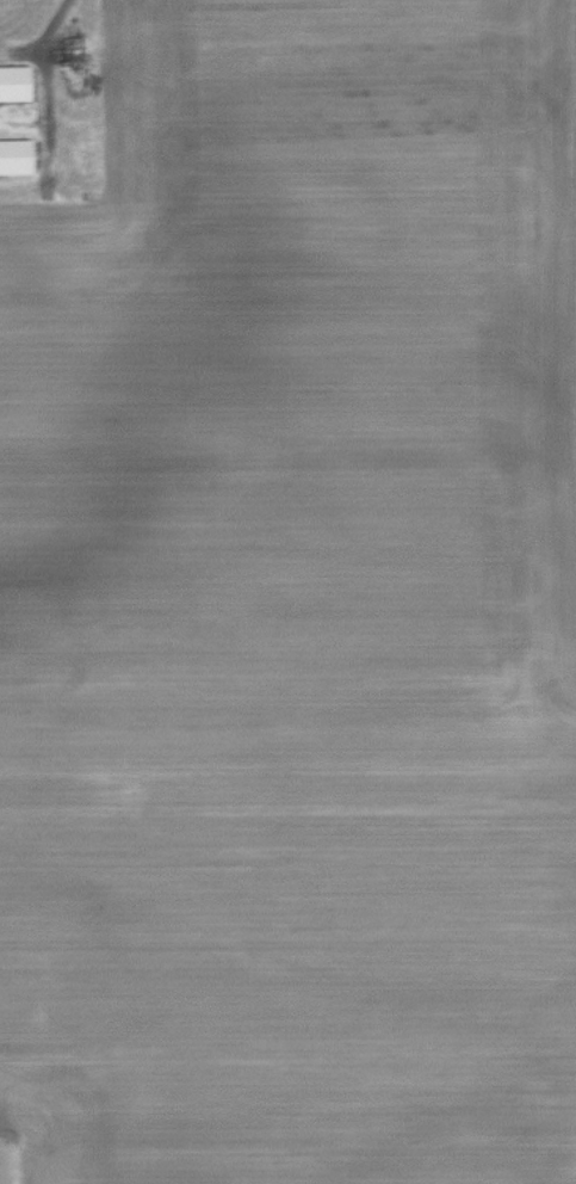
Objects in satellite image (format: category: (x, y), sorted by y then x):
road: (51, 23)
building: (16, 156)

